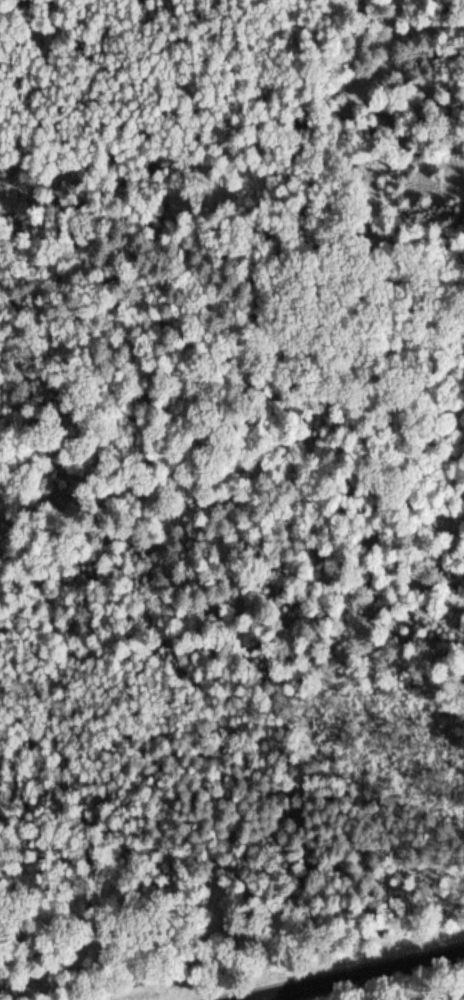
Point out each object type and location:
road: (361, 976)

